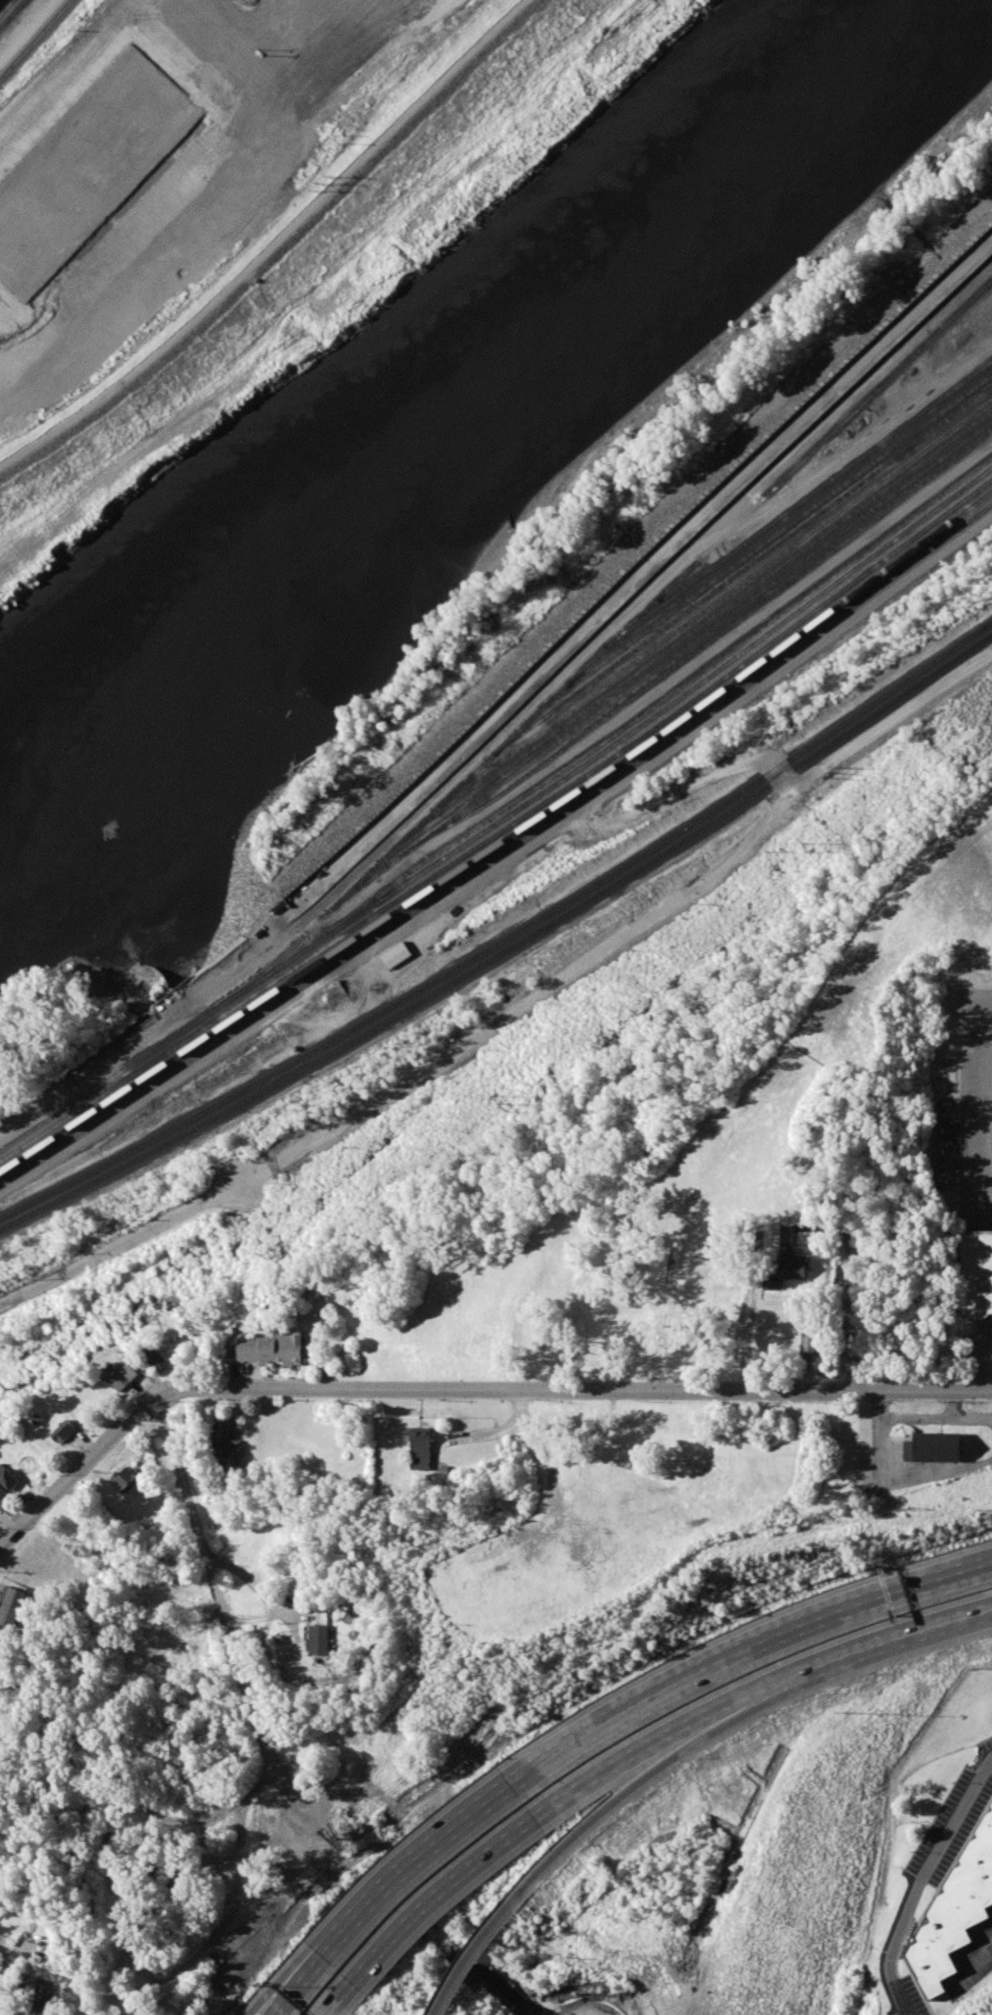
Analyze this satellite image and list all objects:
railway: (0, 1)
railway: (6, 7)
building: (252, 9)
railway: (11, 13)
road: (158, 22)
railway: (36, 41)
building: (146, 212)
road: (274, 245)
railway: (974, 298)
river: (458, 431)
railway: (795, 507)
railway: (773, 537)
railway: (741, 572)
road: (627, 590)
railway: (714, 601)
railway: (687, 633)
railway: (706, 642)
railway: (588, 665)
railway: (658, 665)
railway: (661, 697)
road: (895, 721)
road: (690, 734)
railway: (502, 818)
railway: (503, 831)
railway: (502, 841)
power tower: (811, 848)
railway: (502, 852)
river: (164, 855)
railway: (507, 938)
railway: (507, 951)
building: (396, 955)
road: (548, 988)
road: (985, 1091)
power tower: (507, 1105)
road: (990, 1193)
road: (855, 1219)
building: (772, 1234)
road: (139, 1235)
building: (786, 1270)
building: (977, 1272)
power tower: (111, 1322)
building: (812, 1345)
building: (272, 1350)
building: (155, 1358)
road: (980, 1363)
building: (121, 1378)
road: (578, 1391)
building: (63, 1432)
river: (294, 1441)
building: (225, 1446)
building: (421, 1448)
building: (932, 1448)
road: (82, 1469)
building: (8, 1478)
building: (127, 1479)
building: (2, 1495)
road: (214, 1582)
road: (254, 1583)
building: (154, 1589)
building: (11, 1606)
building: (319, 1640)
road: (863, 1642)
road: (751, 1652)
road: (642, 1742)
road: (677, 1745)
road: (573, 1836)
road: (425, 1864)
road: (922, 1882)
road: (437, 1892)
building: (956, 1916)
road: (478, 1942)
road: (19, 1946)
river: (468, 1954)
road: (609, 1959)
road: (984, 1961)
road: (294, 1987)
road: (303, 1987)
building: (43, 1996)
road: (327, 2006)

